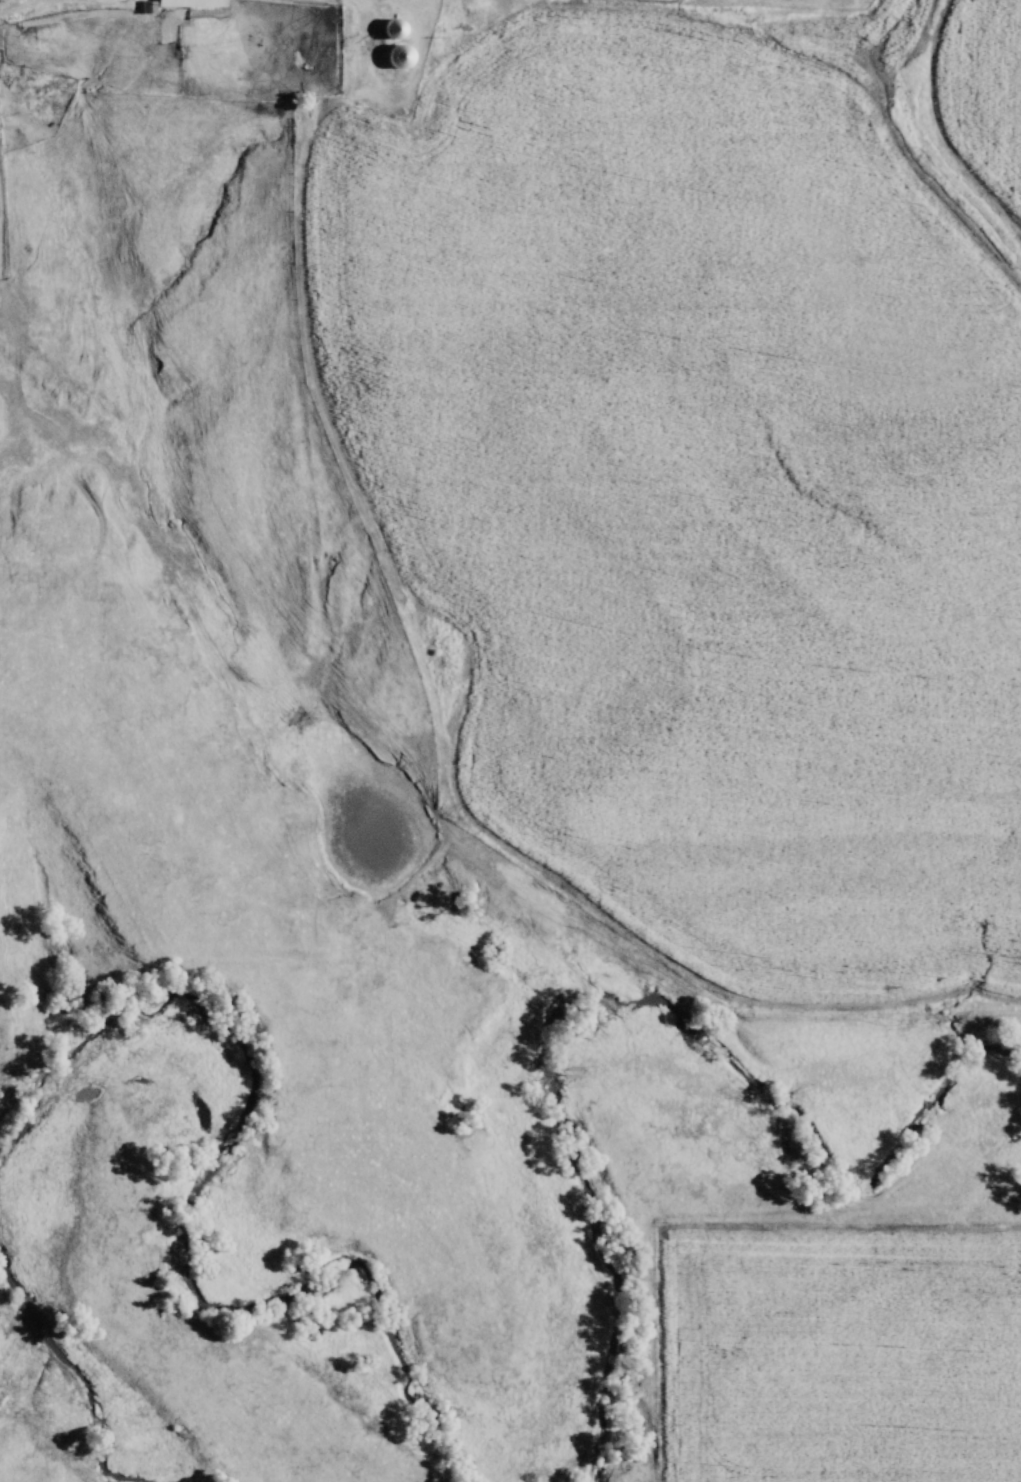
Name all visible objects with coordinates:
building: (183, 5)
building: (398, 29)
building: (402, 57)
river: (610, 997)
river: (215, 1196)
river: (92, 1364)

